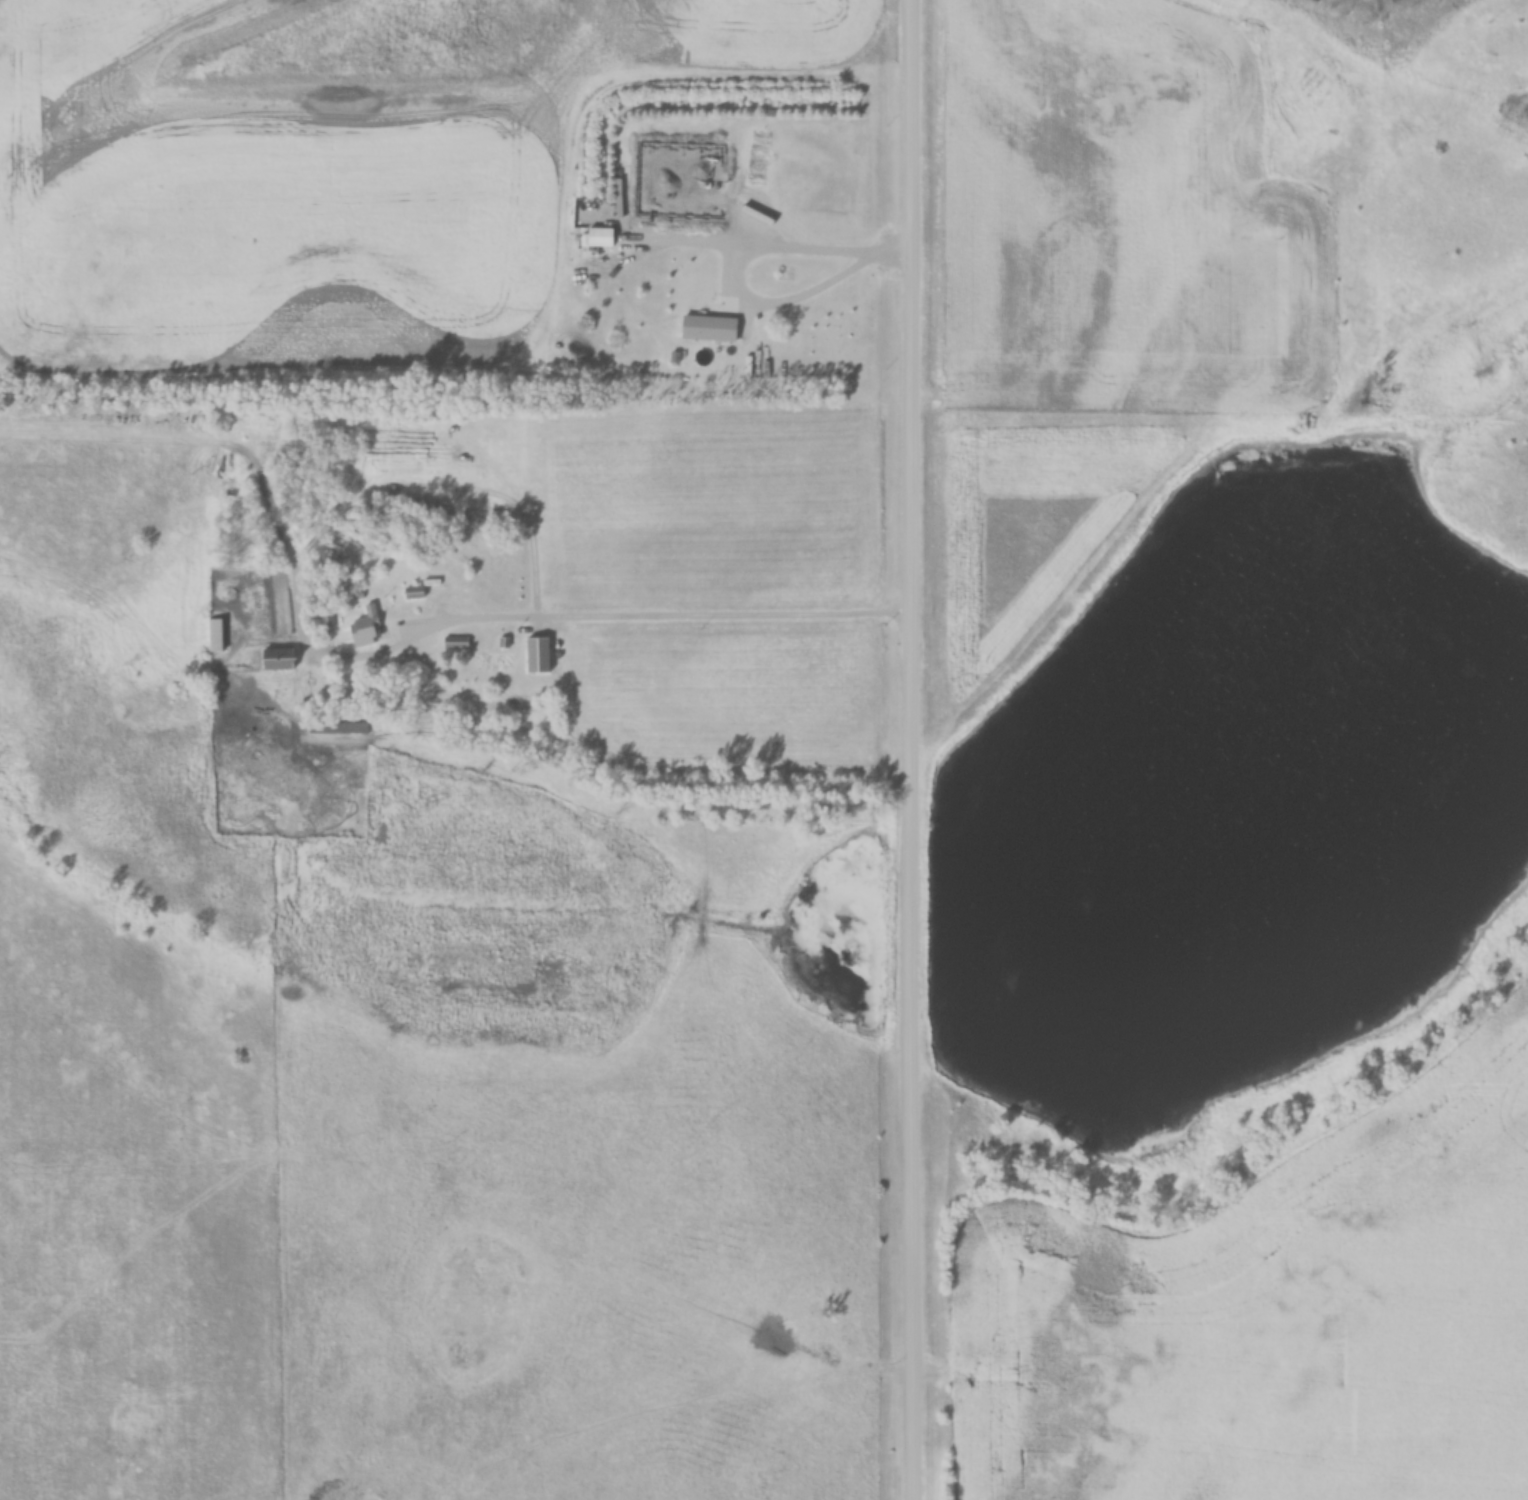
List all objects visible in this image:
building: (597, 236)
building: (707, 327)
road: (655, 618)
building: (365, 626)
building: (538, 654)
building: (278, 658)
building: (334, 727)
road: (913, 750)

